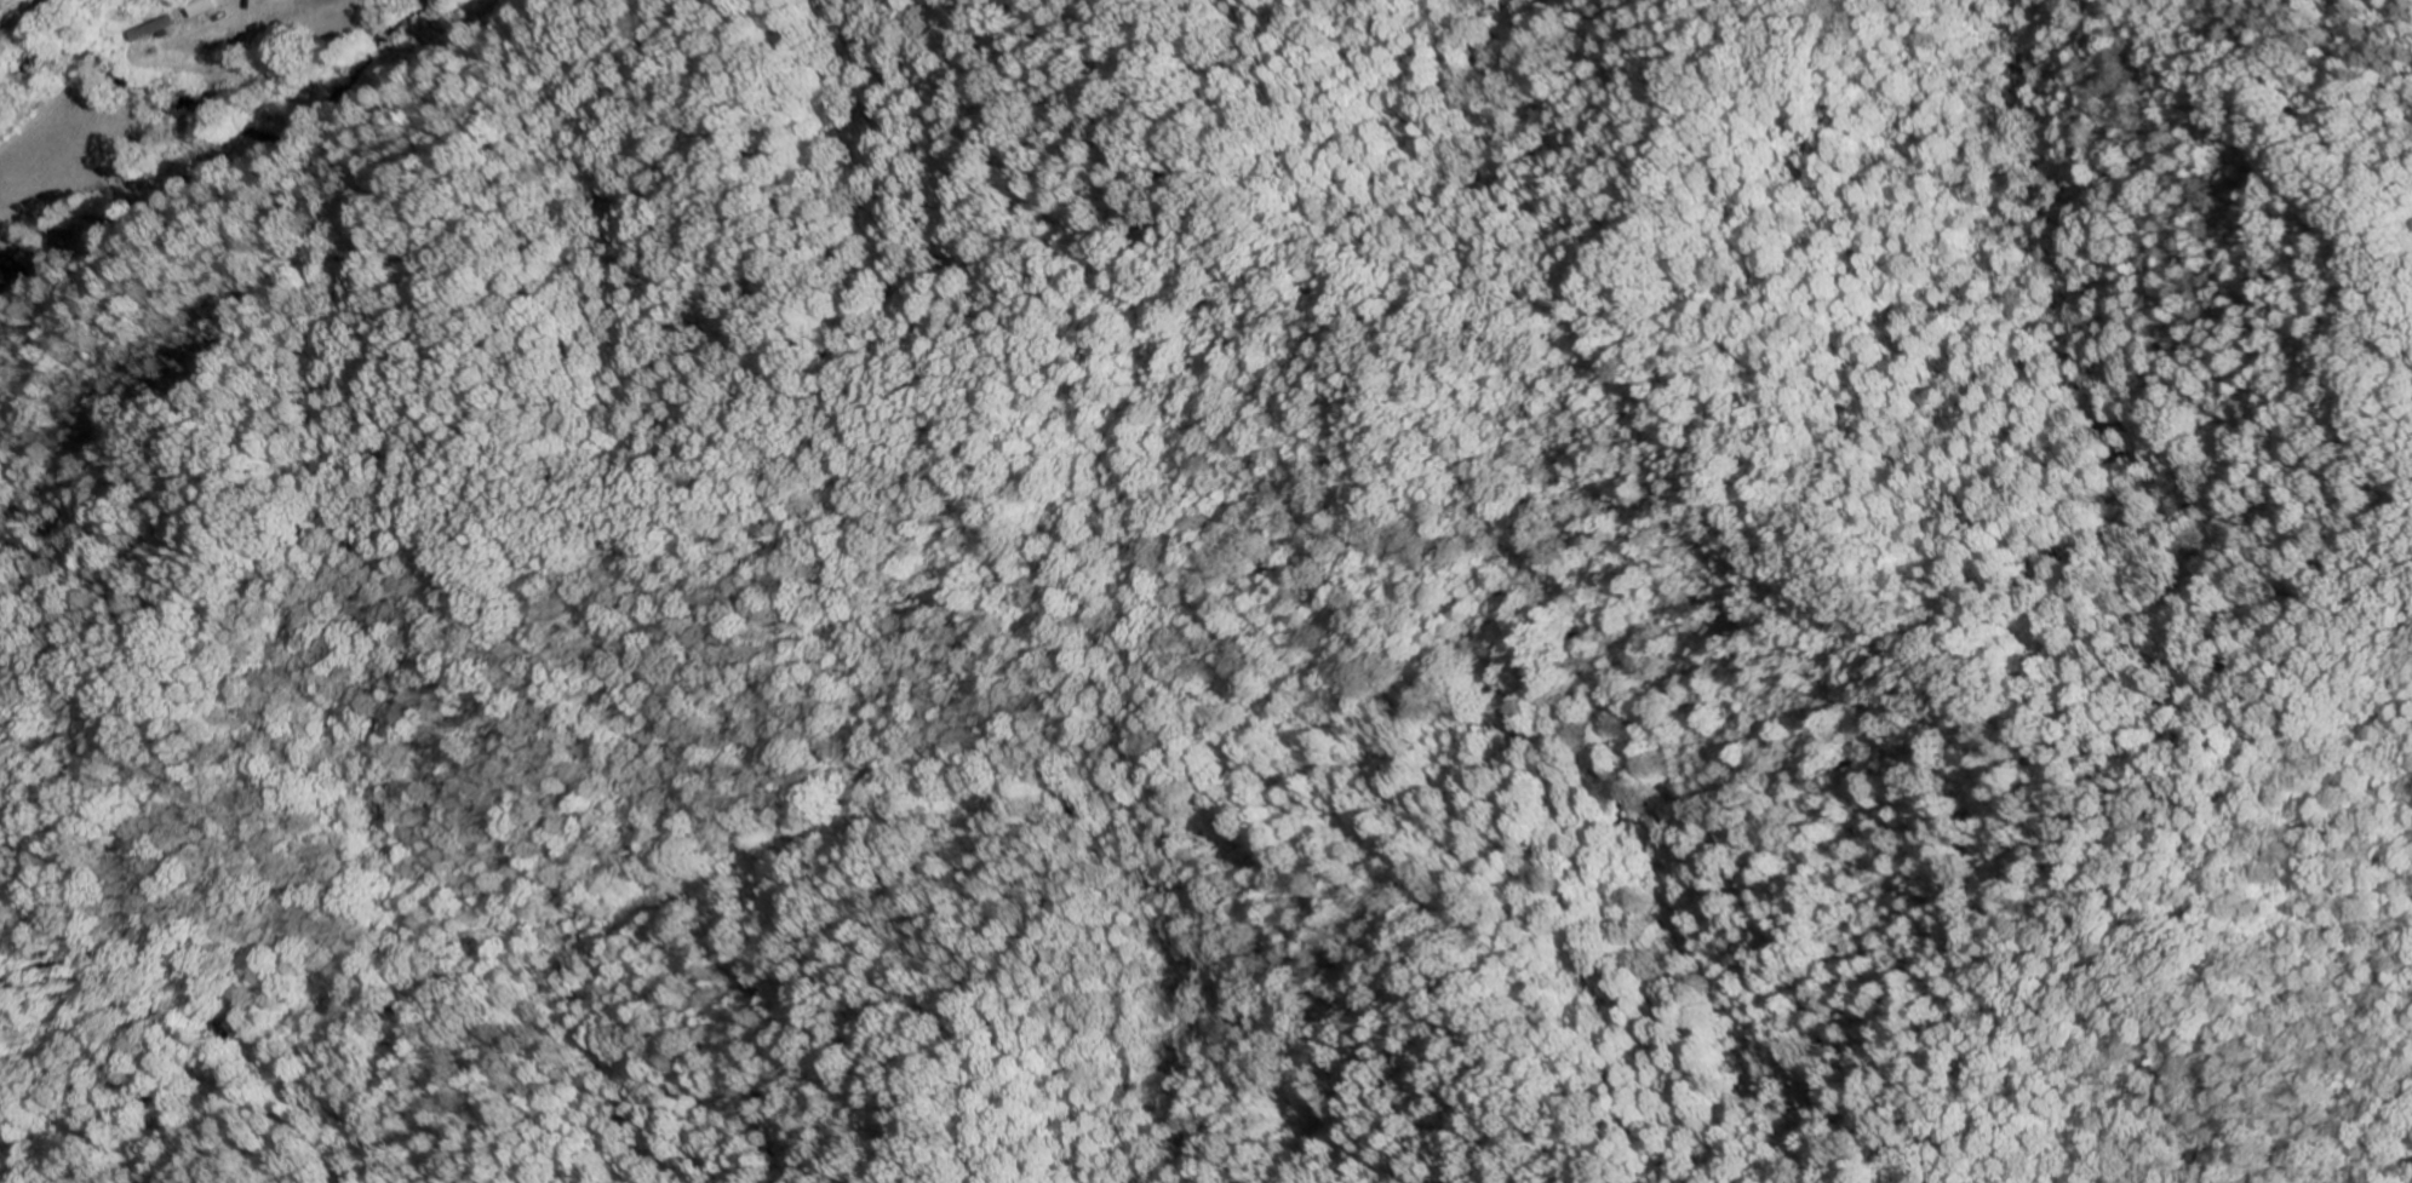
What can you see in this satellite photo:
road: (23, 18)
building: (151, 29)

